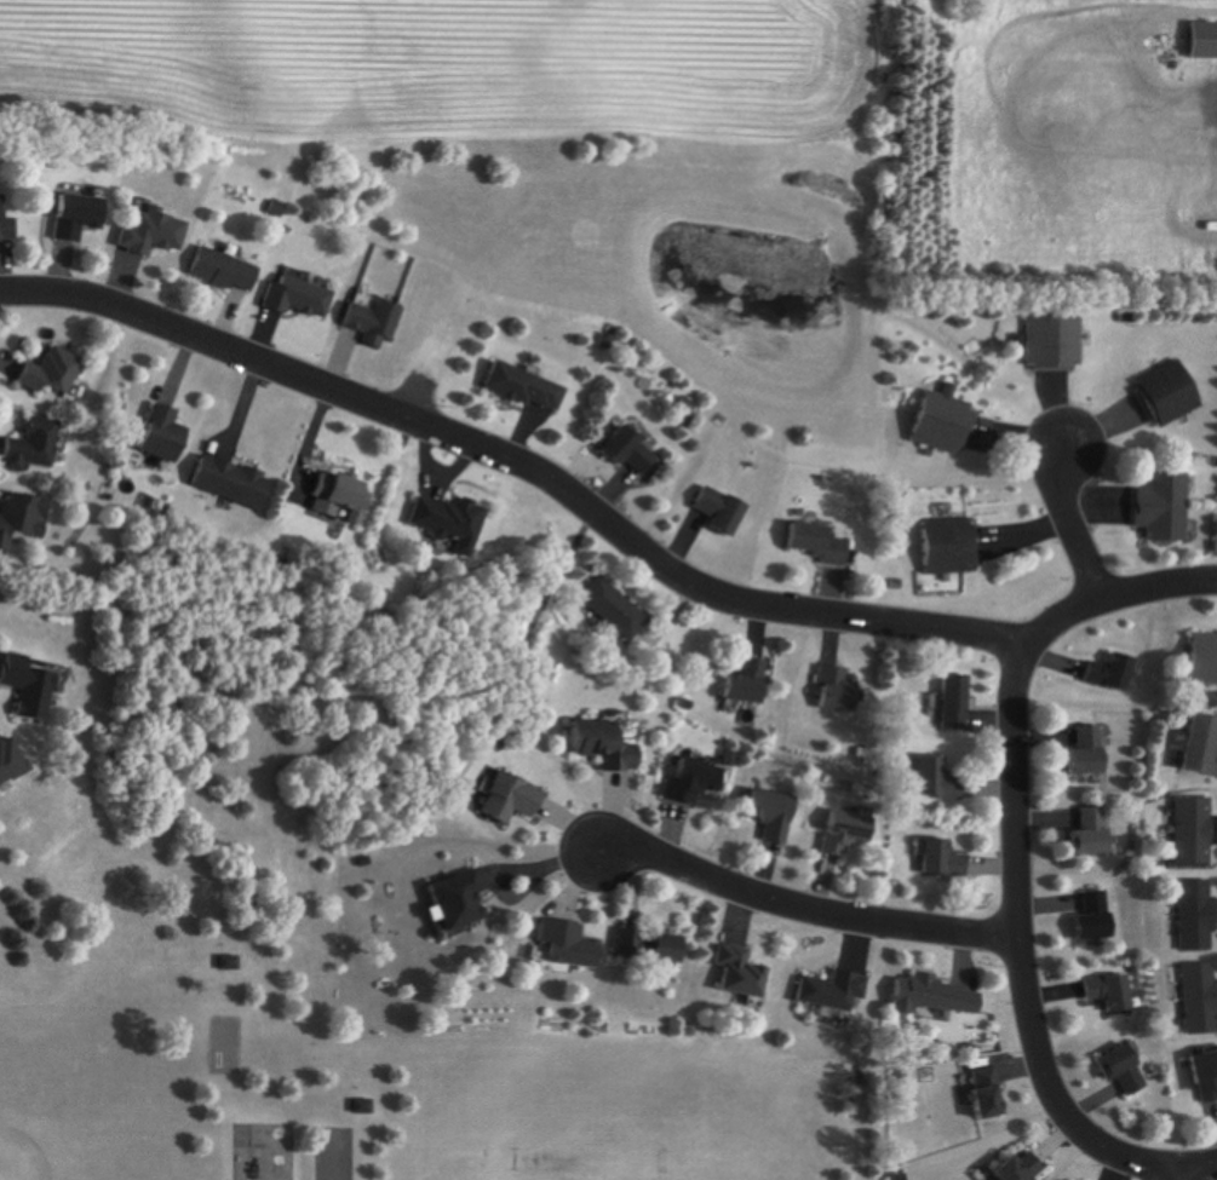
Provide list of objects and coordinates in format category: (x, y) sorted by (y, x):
building: (1199, 41)
crop: (448, 74)
building: (80, 217)
building: (7, 220)
building: (155, 234)
building: (226, 271)
park: (768, 289)
building: (300, 297)
building: (375, 322)
building: (1056, 343)
building: (54, 373)
building: (529, 387)
building: (1170, 393)
building: (947, 422)
building: (165, 436)
building: (33, 444)
building: (635, 453)
road: (522, 462)
building: (340, 497)
building: (1166, 507)
building: (724, 510)
building: (22, 518)
building: (450, 522)
road: (1073, 524)
building: (819, 542)
building: (953, 547)
building: (655, 559)
building: (616, 610)
building: (1204, 660)
building: (1114, 673)
building: (748, 683)
building: (30, 686)
building: (840, 690)
building: (959, 703)
building: (608, 744)
building: (1201, 747)
building: (1090, 753)
building: (13, 761)
building: (941, 779)
building: (694, 781)
building: (513, 799)
building: (771, 815)
building: (850, 831)
building: (1194, 831)
building: (1095, 833)
road: (1017, 846)
building: (947, 858)
building: (461, 900)
road: (804, 908)
building: (1198, 916)
building: (1100, 917)
building: (572, 946)
building: (654, 946)
park: (327, 949)
building: (741, 972)
building: (837, 990)
building: (1113, 992)
building: (940, 996)
building: (1201, 998)
building: (1126, 1071)
building: (1206, 1075)
building: (993, 1093)
road: (1200, 1164)
building: (1023, 1167)
road: (1158, 1172)
road: (1183, 1172)

